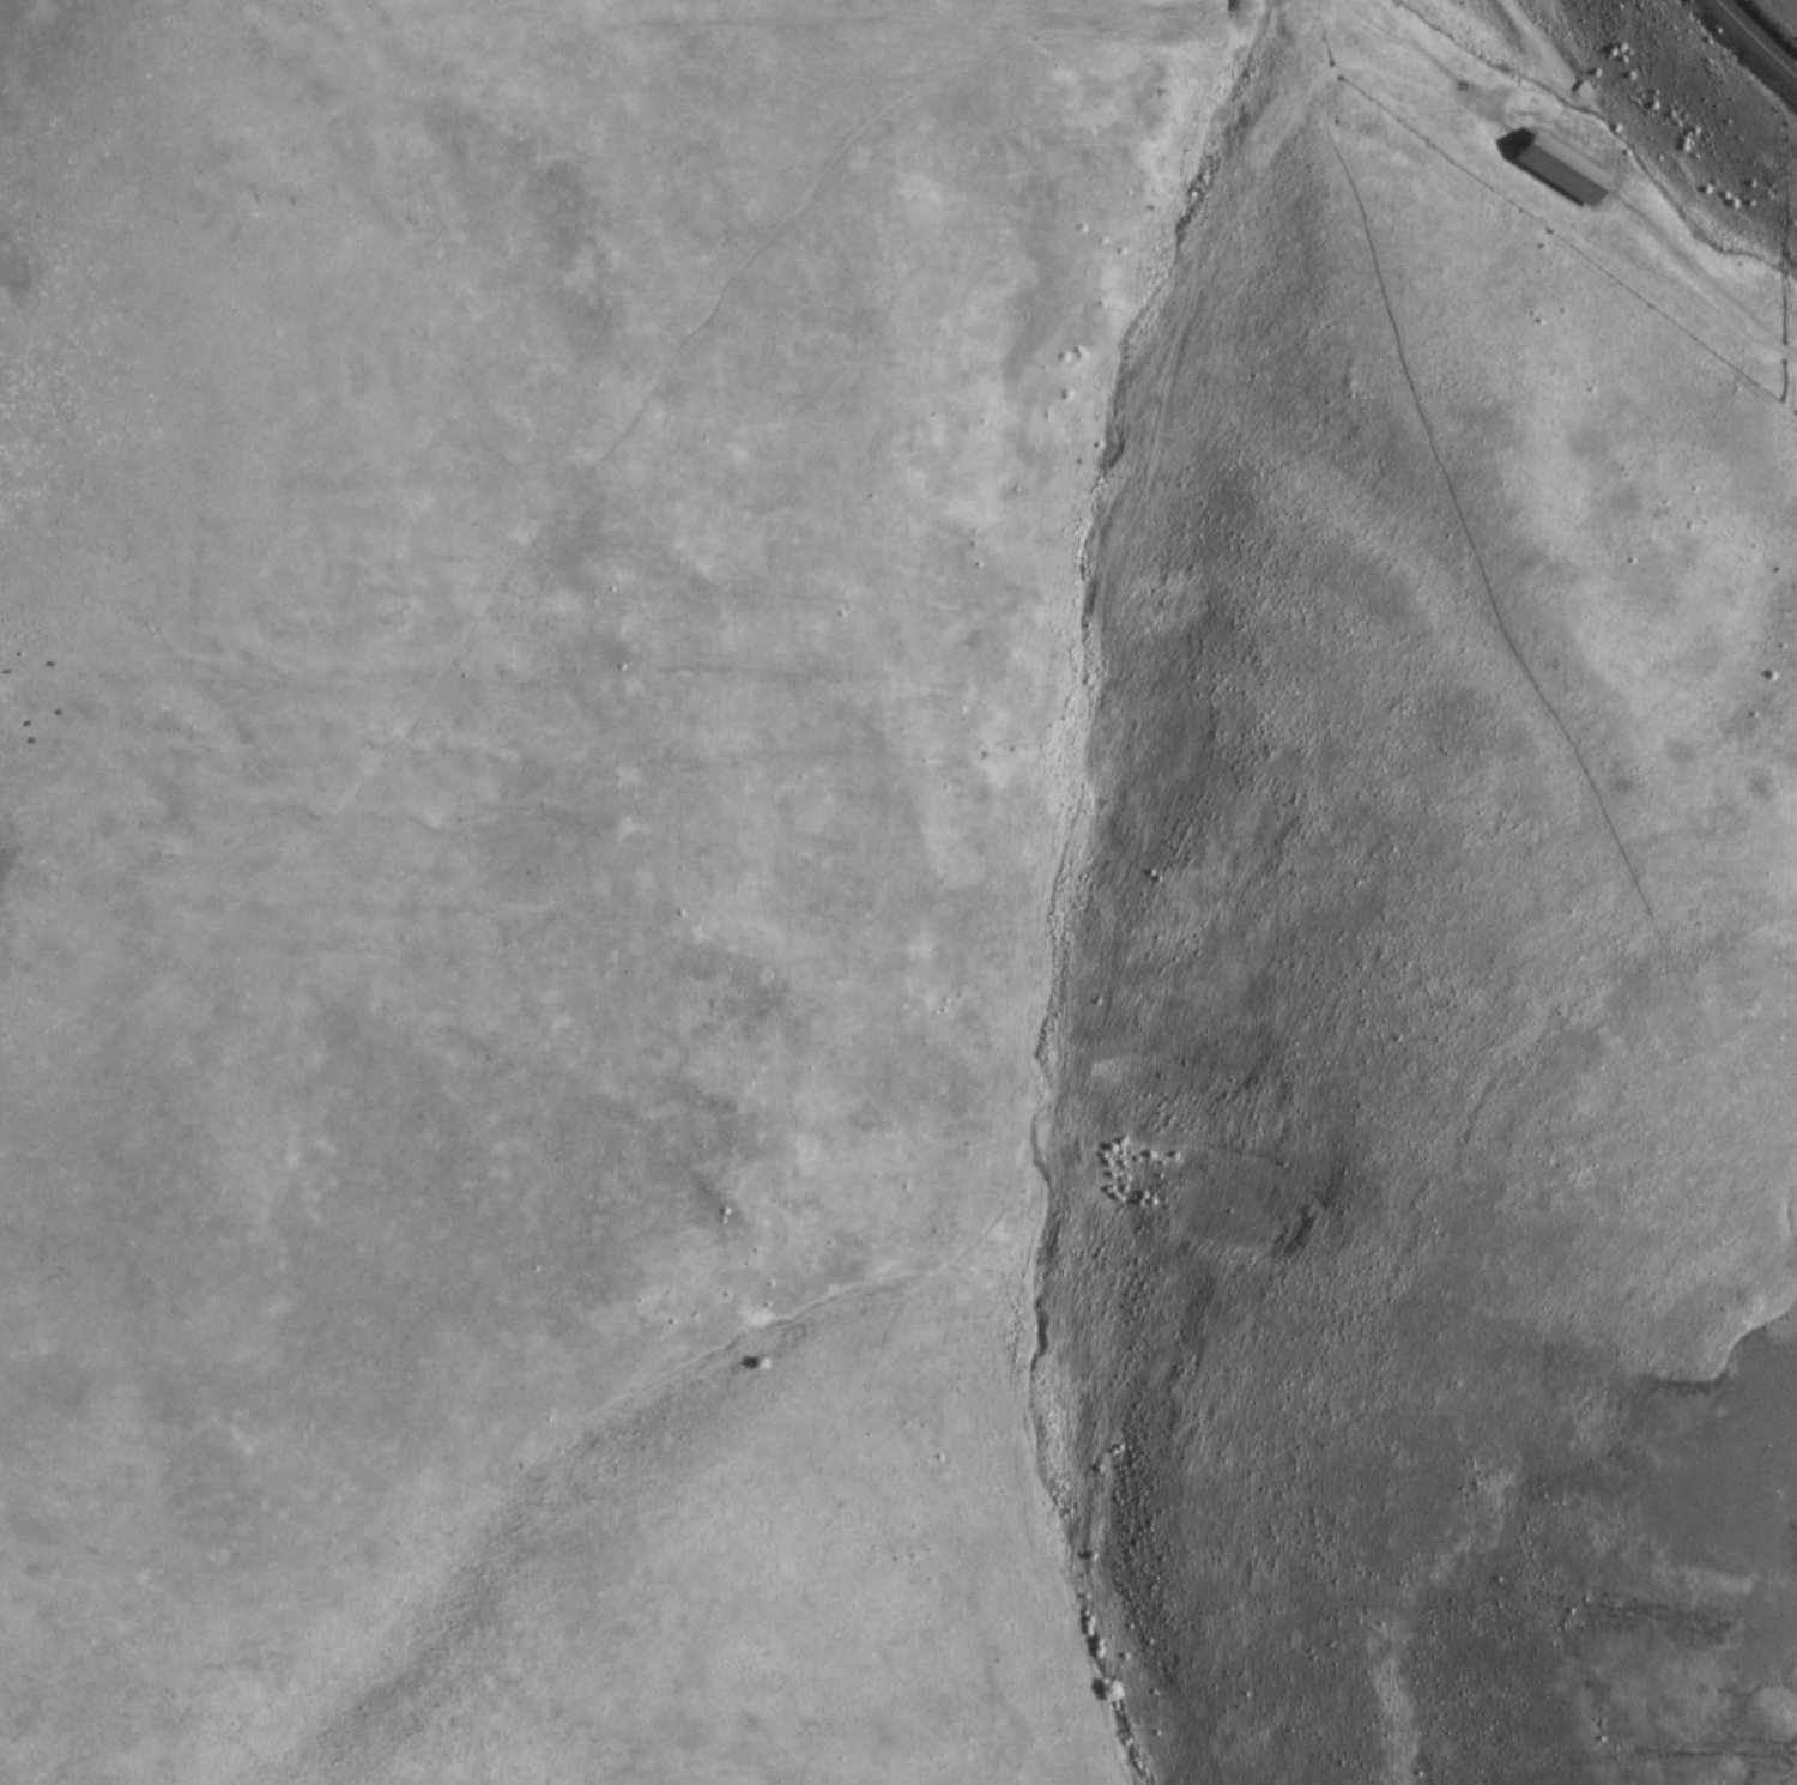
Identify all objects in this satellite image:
road: (1756, 43)
building: (1560, 169)

